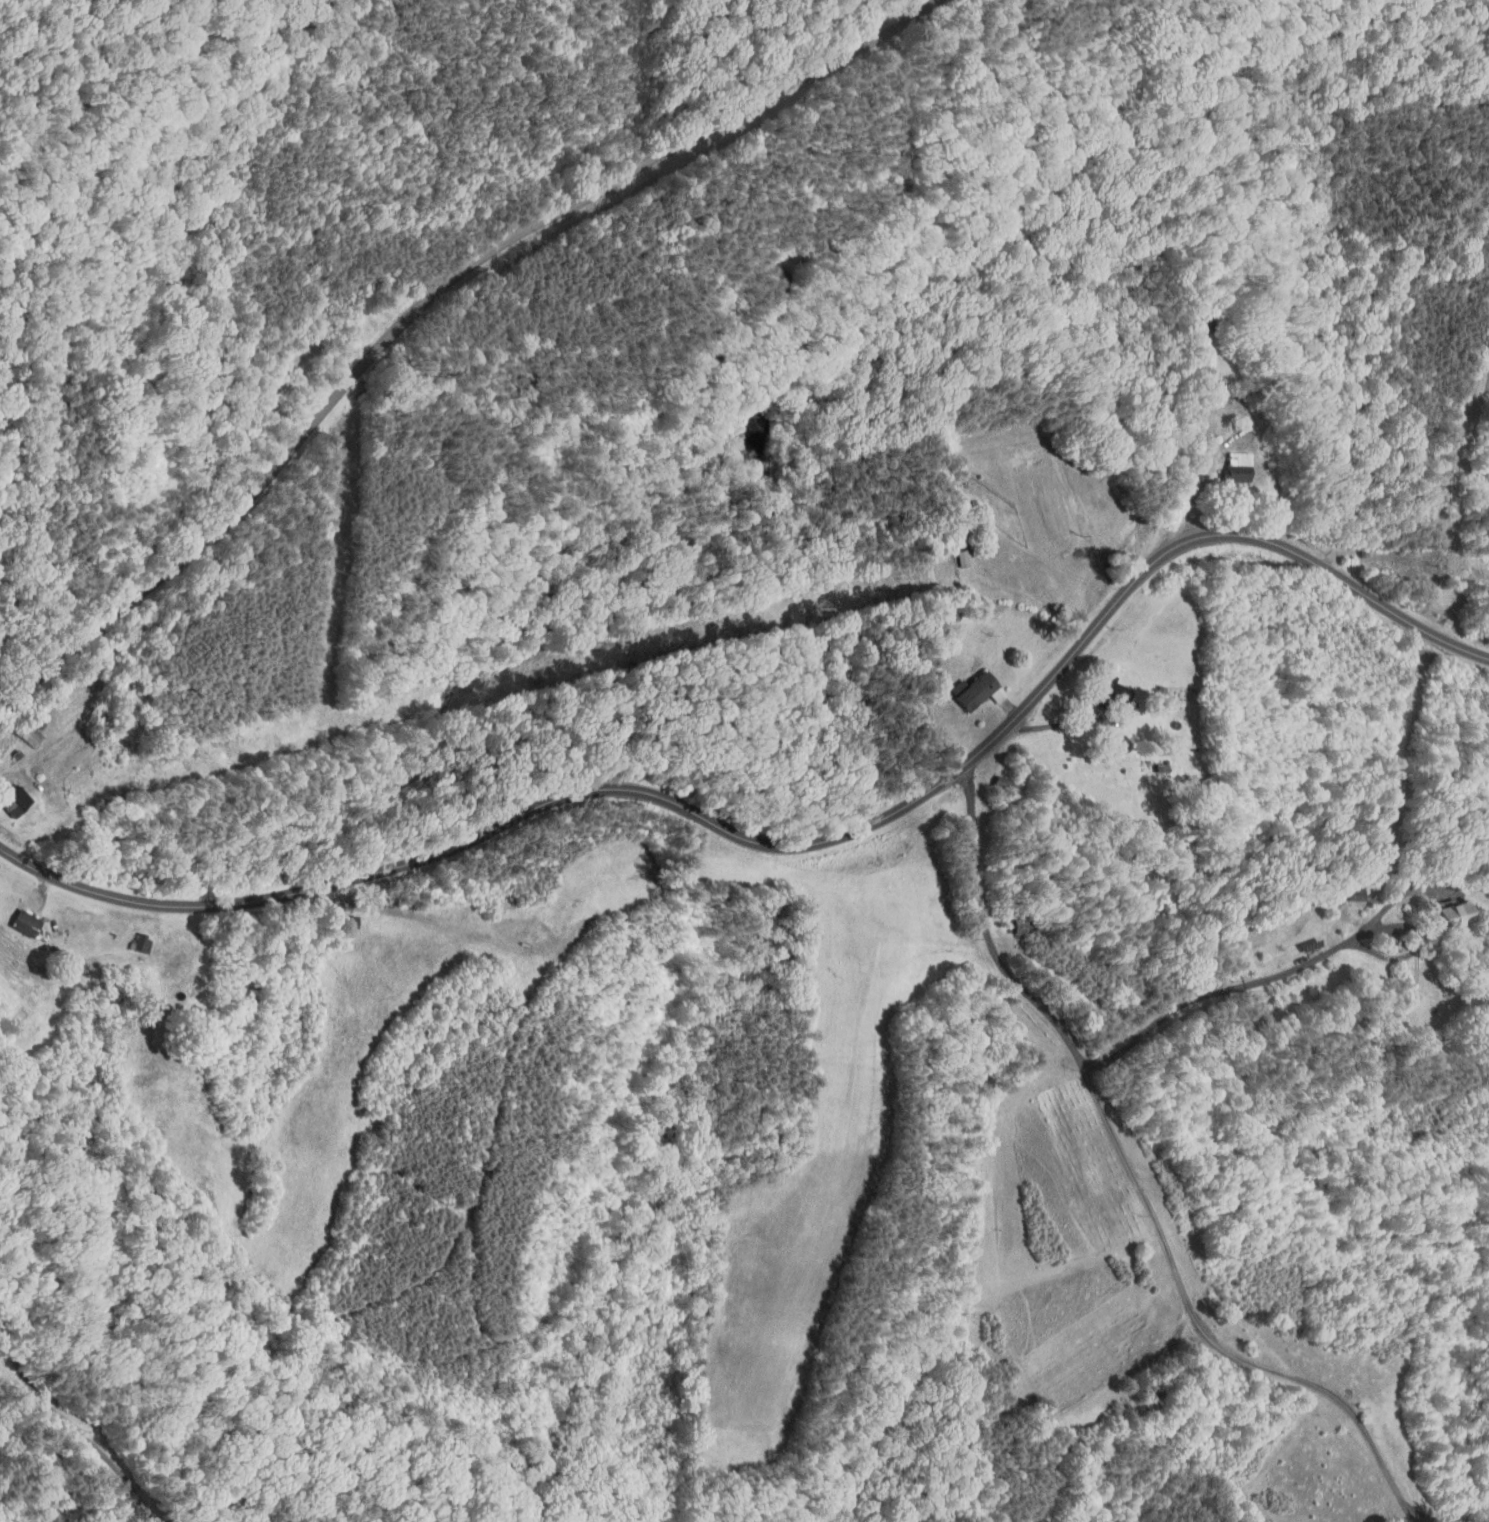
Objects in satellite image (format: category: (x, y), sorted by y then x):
road: (420, 301)
building: (1486, 332)
building: (1223, 459)
road: (1436, 493)
building: (950, 551)
building: (1099, 681)
building: (962, 684)
road: (1062, 722)
building: (9, 795)
road: (797, 847)
building: (1436, 907)
building: (18, 916)
building: (128, 938)
road: (1242, 984)
road: (1139, 1181)
road: (76, 1436)

